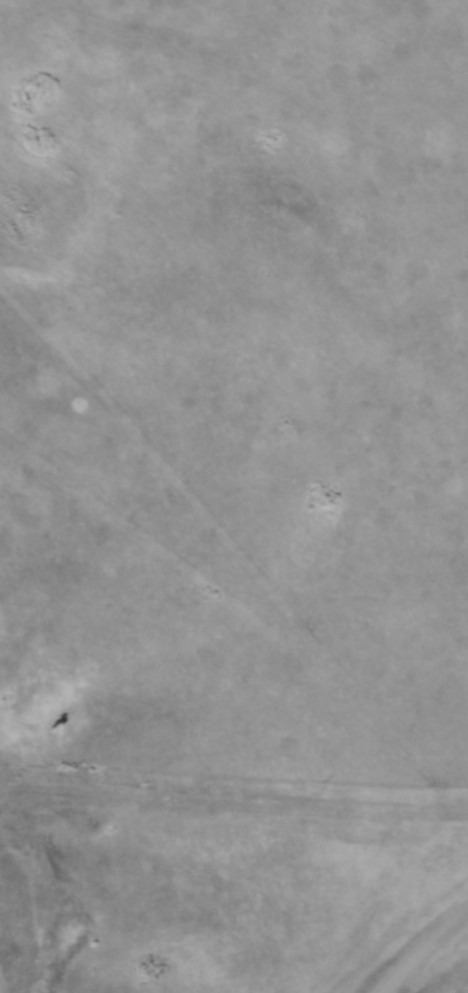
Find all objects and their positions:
road: (419, 947)
road: (3, 981)

